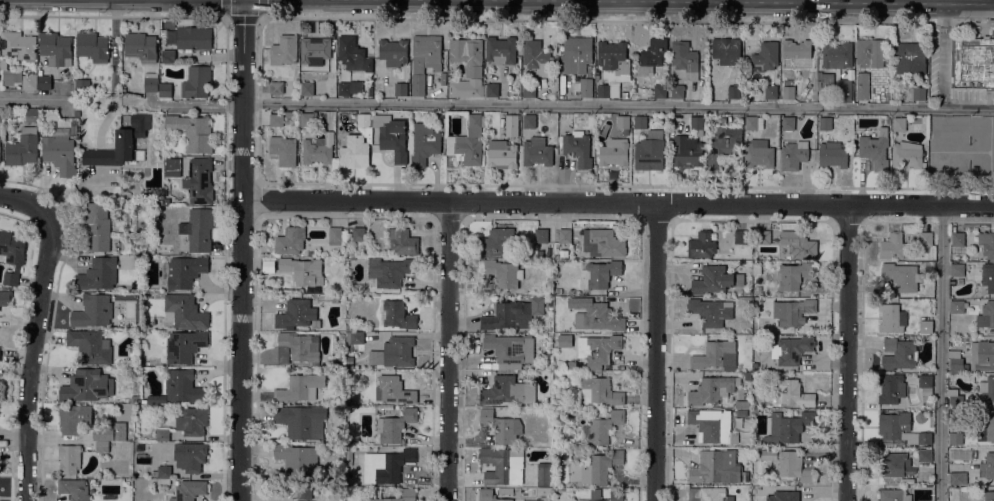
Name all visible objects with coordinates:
road: (243, 16)
road: (225, 18)
road: (261, 19)
building: (193, 37)
building: (18, 44)
building: (93, 46)
building: (141, 46)
building: (56, 48)
building: (284, 49)
building: (796, 49)
building: (314, 50)
building: (500, 50)
building: (726, 50)
building: (393, 51)
building: (869, 52)
building: (353, 53)
building: (467, 54)
building: (576, 54)
road: (941, 54)
building: (168, 55)
building: (836, 55)
building: (536, 56)
building: (652, 56)
building: (765, 56)
building: (910, 57)
building: (685, 58)
building: (424, 59)
building: (973, 62)
building: (612, 68)
building: (850, 74)
building: (11, 76)
building: (443, 78)
building: (820, 78)
building: (43, 80)
building: (29, 81)
building: (196, 81)
building: (150, 83)
building: (82, 84)
building: (276, 86)
building: (586, 86)
building: (306, 87)
building: (467, 87)
building: (344, 88)
building: (400, 88)
building: (165, 89)
building: (491, 89)
building: (529, 89)
building: (788, 89)
building: (845, 89)
building: (660, 90)
building: (677, 90)
building: (734, 91)
building: (771, 91)
building: (862, 92)
building: (918, 92)
road: (34, 98)
road: (259, 101)
road: (560, 107)
building: (1, 114)
building: (32, 114)
building: (289, 115)
building: (606, 116)
building: (306, 118)
building: (276, 119)
building: (529, 121)
building: (623, 121)
building: (640, 121)
building: (753, 122)
building: (788, 122)
building: (825, 123)
building: (898, 123)
building: (511, 124)
building: (697, 124)
building: (192, 131)
building: (391, 135)
building: (467, 142)
building: (424, 143)
building: (724, 143)
building: (121, 144)
building: (357, 144)
building: (23, 147)
building: (578, 147)
building: (875, 147)
building: (0, 148)
building: (61, 148)
road: (225, 148)
building: (283, 150)
building: (317, 150)
building: (649, 150)
building: (687, 150)
building: (537, 151)
building: (613, 151)
building: (758, 153)
building: (501, 154)
building: (793, 154)
building: (832, 154)
building: (906, 155)
building: (172, 166)
building: (198, 181)
road: (259, 181)
road: (21, 198)
road: (257, 199)
road: (618, 201)
road: (345, 216)
road: (259, 217)
road: (449, 217)
road: (434, 218)
road: (552, 218)
road: (657, 218)
road: (465, 219)
road: (752, 219)
road: (641, 220)
road: (673, 220)
road: (848, 220)
road: (832, 221)
road: (864, 221)
building: (97, 225)
building: (198, 228)
building: (358, 233)
building: (335, 235)
building: (541, 235)
building: (565, 235)
building: (740, 235)
building: (764, 236)
building: (925, 238)
building: (958, 239)
building: (290, 240)
building: (402, 241)
building: (497, 242)
building: (603, 242)
building: (120, 243)
building: (142, 243)
building: (798, 243)
building: (987, 243)
building: (701, 245)
building: (893, 246)
road: (241, 250)
building: (540, 252)
building: (12, 254)
building: (757, 268)
building: (303, 269)
building: (957, 269)
building: (389, 270)
building: (182, 271)
building: (504, 272)
building: (98, 273)
building: (598, 273)
building: (793, 275)
building: (902, 276)
building: (988, 276)
building: (715, 279)
building: (757, 289)
building: (558, 290)
building: (746, 291)
building: (5, 297)
building: (329, 297)
road: (862, 297)
building: (957, 306)
building: (92, 310)
building: (185, 310)
building: (792, 310)
building: (711, 311)
building: (396, 313)
building: (297, 314)
building: (513, 314)
building: (986, 315)
building: (598, 317)
building: (892, 317)
building: (925, 325)
building: (349, 327)
building: (748, 336)
building: (355, 340)
building: (90, 345)
building: (185, 345)
building: (297, 347)
building: (510, 347)
building: (597, 348)
building: (791, 349)
road: (34, 350)
road: (449, 350)
road: (656, 351)
building: (393, 352)
road: (847, 352)
road: (941, 352)
building: (899, 353)
building: (716, 355)
building: (982, 355)
building: (337, 360)
building: (955, 360)
building: (349, 361)
building: (570, 364)
building: (755, 366)
building: (557, 375)
building: (747, 375)
building: (572, 376)
building: (925, 383)
building: (87, 385)
building: (182, 385)
building: (300, 387)
building: (891, 387)
building: (394, 389)
building: (712, 389)
building: (507, 390)
building: (599, 391)
building: (986, 392)
building: (792, 393)
building: (135, 398)
building: (955, 399)
building: (349, 400)
building: (742, 403)
building: (378, 409)
building: (741, 412)
building: (141, 416)
building: (74, 417)
building: (192, 420)
building: (301, 420)
building: (395, 425)
building: (712, 425)
building: (502, 426)
building: (604, 427)
building: (786, 427)
building: (986, 427)
building: (900, 428)
building: (111, 432)
building: (162, 433)
building: (956, 439)
building: (102, 446)
building: (924, 454)
building: (190, 455)
building: (69, 458)
building: (298, 459)
building: (894, 464)
building: (386, 465)
building: (503, 465)
building: (604, 465)
building: (793, 466)
building: (987, 466)
building: (718, 467)
building: (164, 471)
building: (154, 472)
building: (543, 474)
building: (957, 477)
building: (163, 480)
building: (908, 480)
building: (74, 488)
building: (189, 490)
building: (505, 490)
building: (304, 491)
building: (409, 492)
building: (616, 494)
building: (489, 495)
building: (702, 495)
building: (783, 495)
building: (894, 495)
building: (989, 495)
building: (728, 497)

